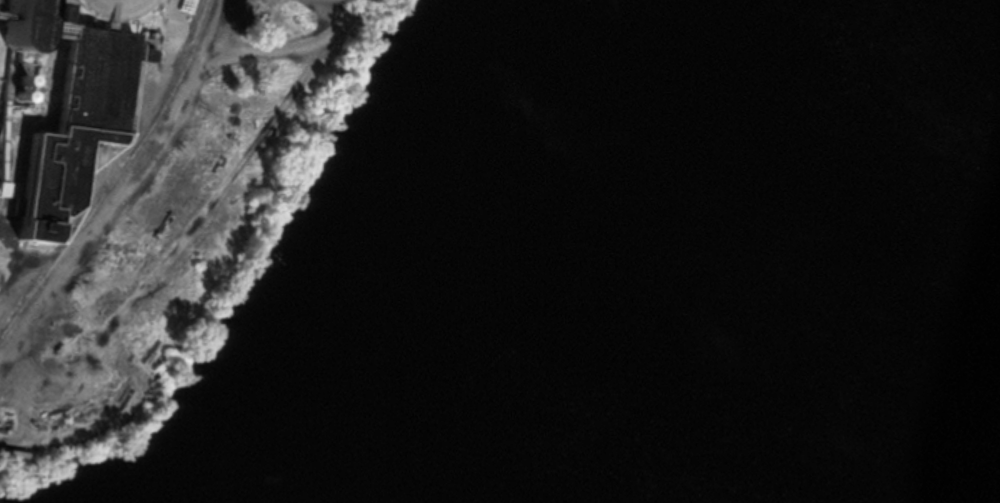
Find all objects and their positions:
road: (335, 5)
building: (114, 9)
building: (43, 11)
building: (24, 26)
road: (289, 48)
building: (27, 85)
building: (77, 124)
railway: (116, 175)
building: (1, 188)
river: (715, 251)
building: (17, 453)

